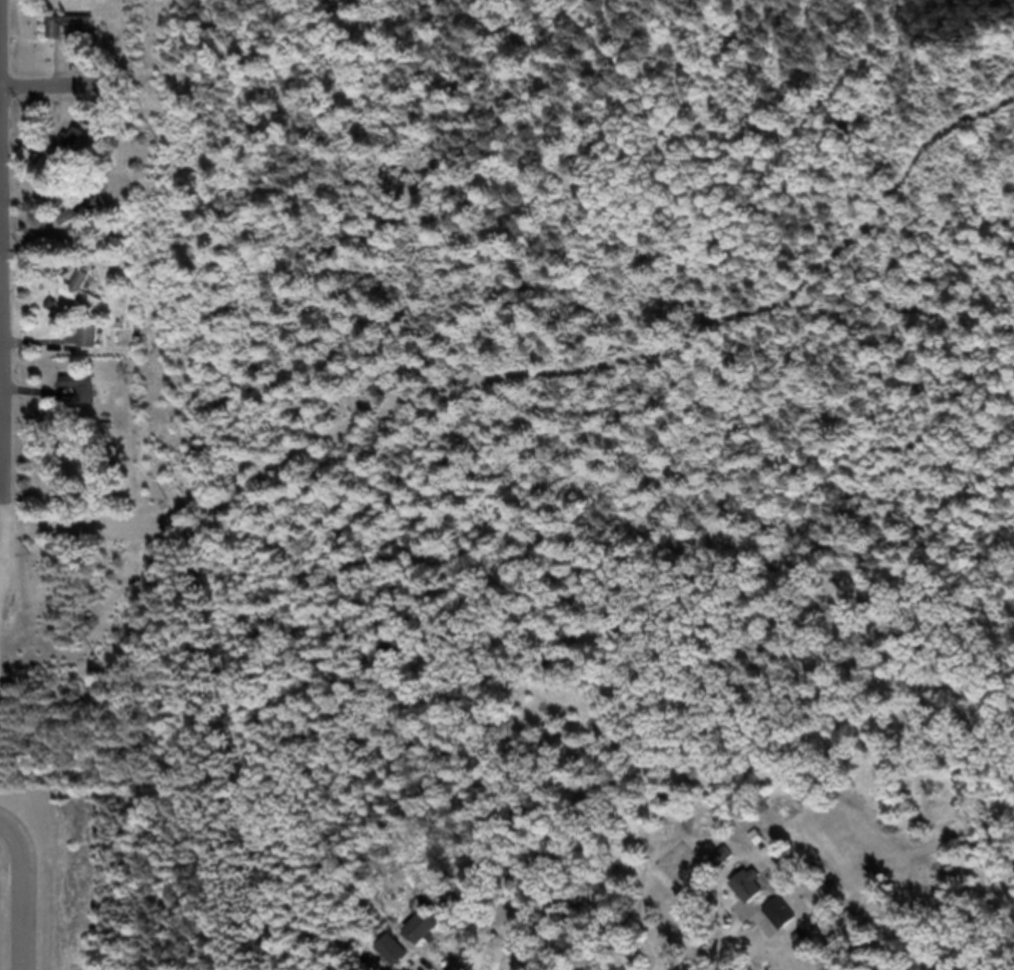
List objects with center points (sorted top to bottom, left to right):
building: (75, 38)
road: (51, 93)
building: (107, 141)
building: (73, 155)
building: (87, 220)
road: (8, 254)
building: (87, 301)
building: (93, 345)
building: (86, 397)
power substation: (1, 664)
building: (728, 866)
building: (755, 895)
road: (27, 896)
building: (786, 922)
building: (429, 937)
road: (495, 952)
road: (701, 956)
building: (396, 958)
building: (816, 959)

